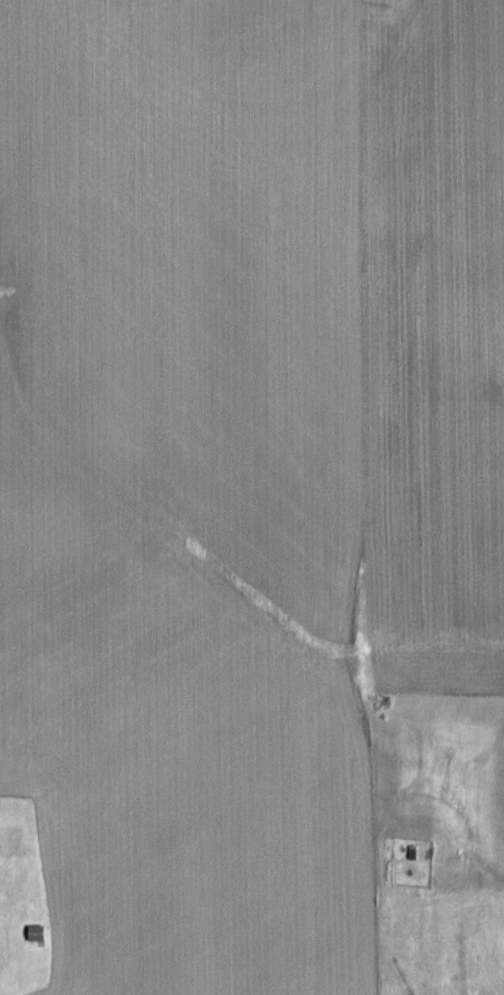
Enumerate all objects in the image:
crop: (239, 459)
building: (38, 933)

